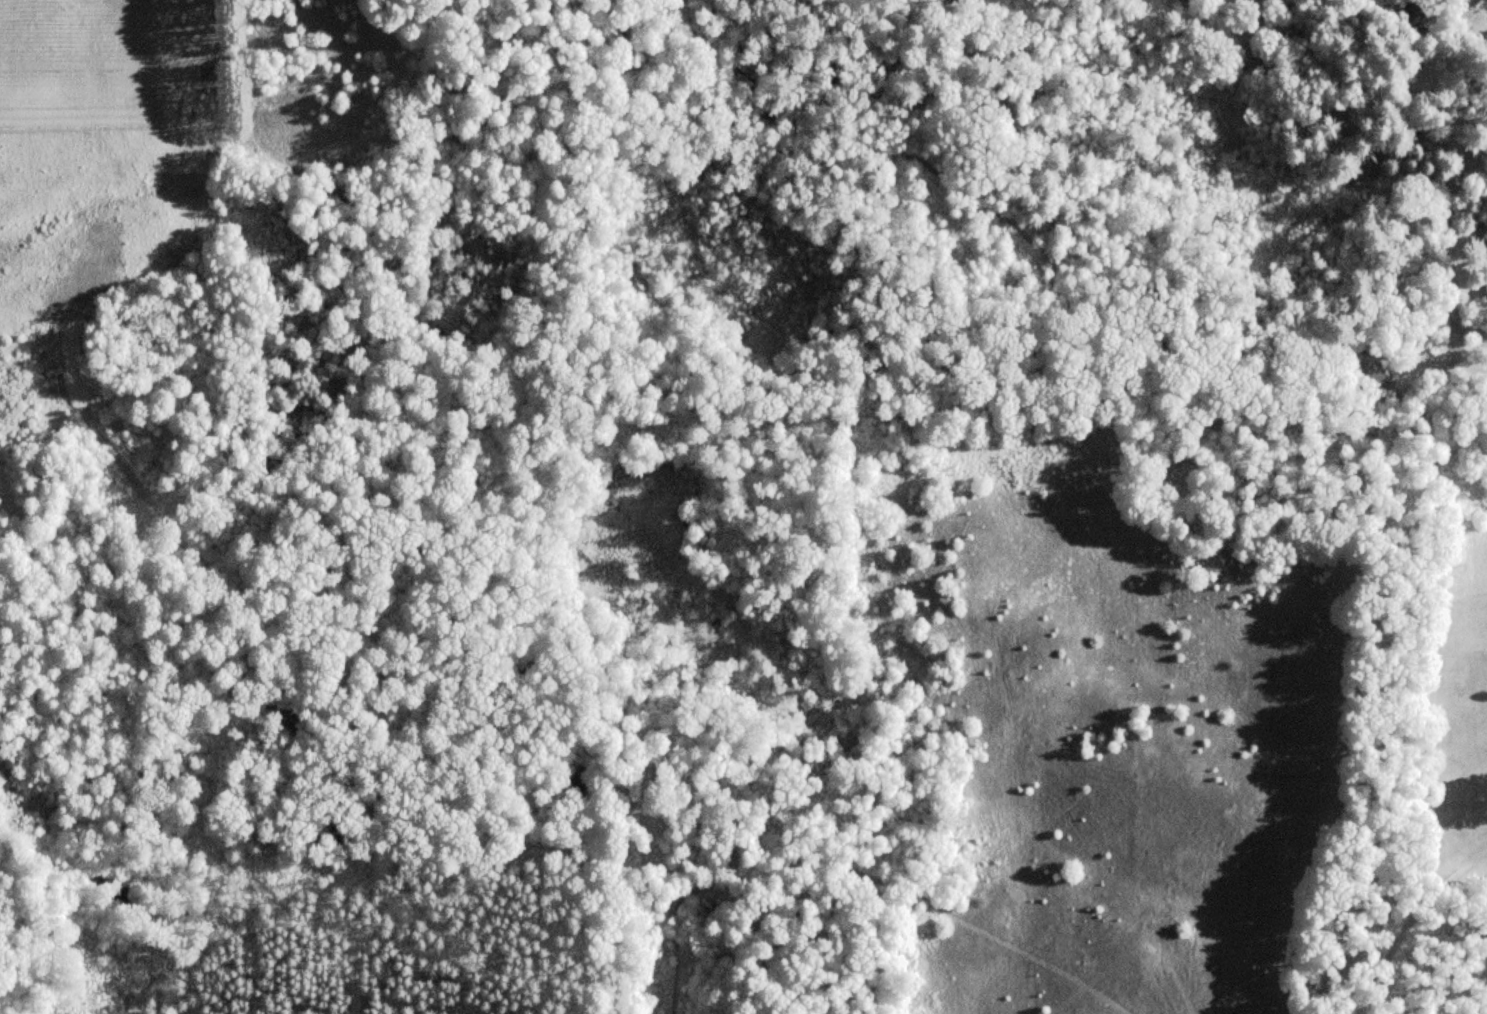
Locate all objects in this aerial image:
building: (1486, 291)
building: (1368, 374)

